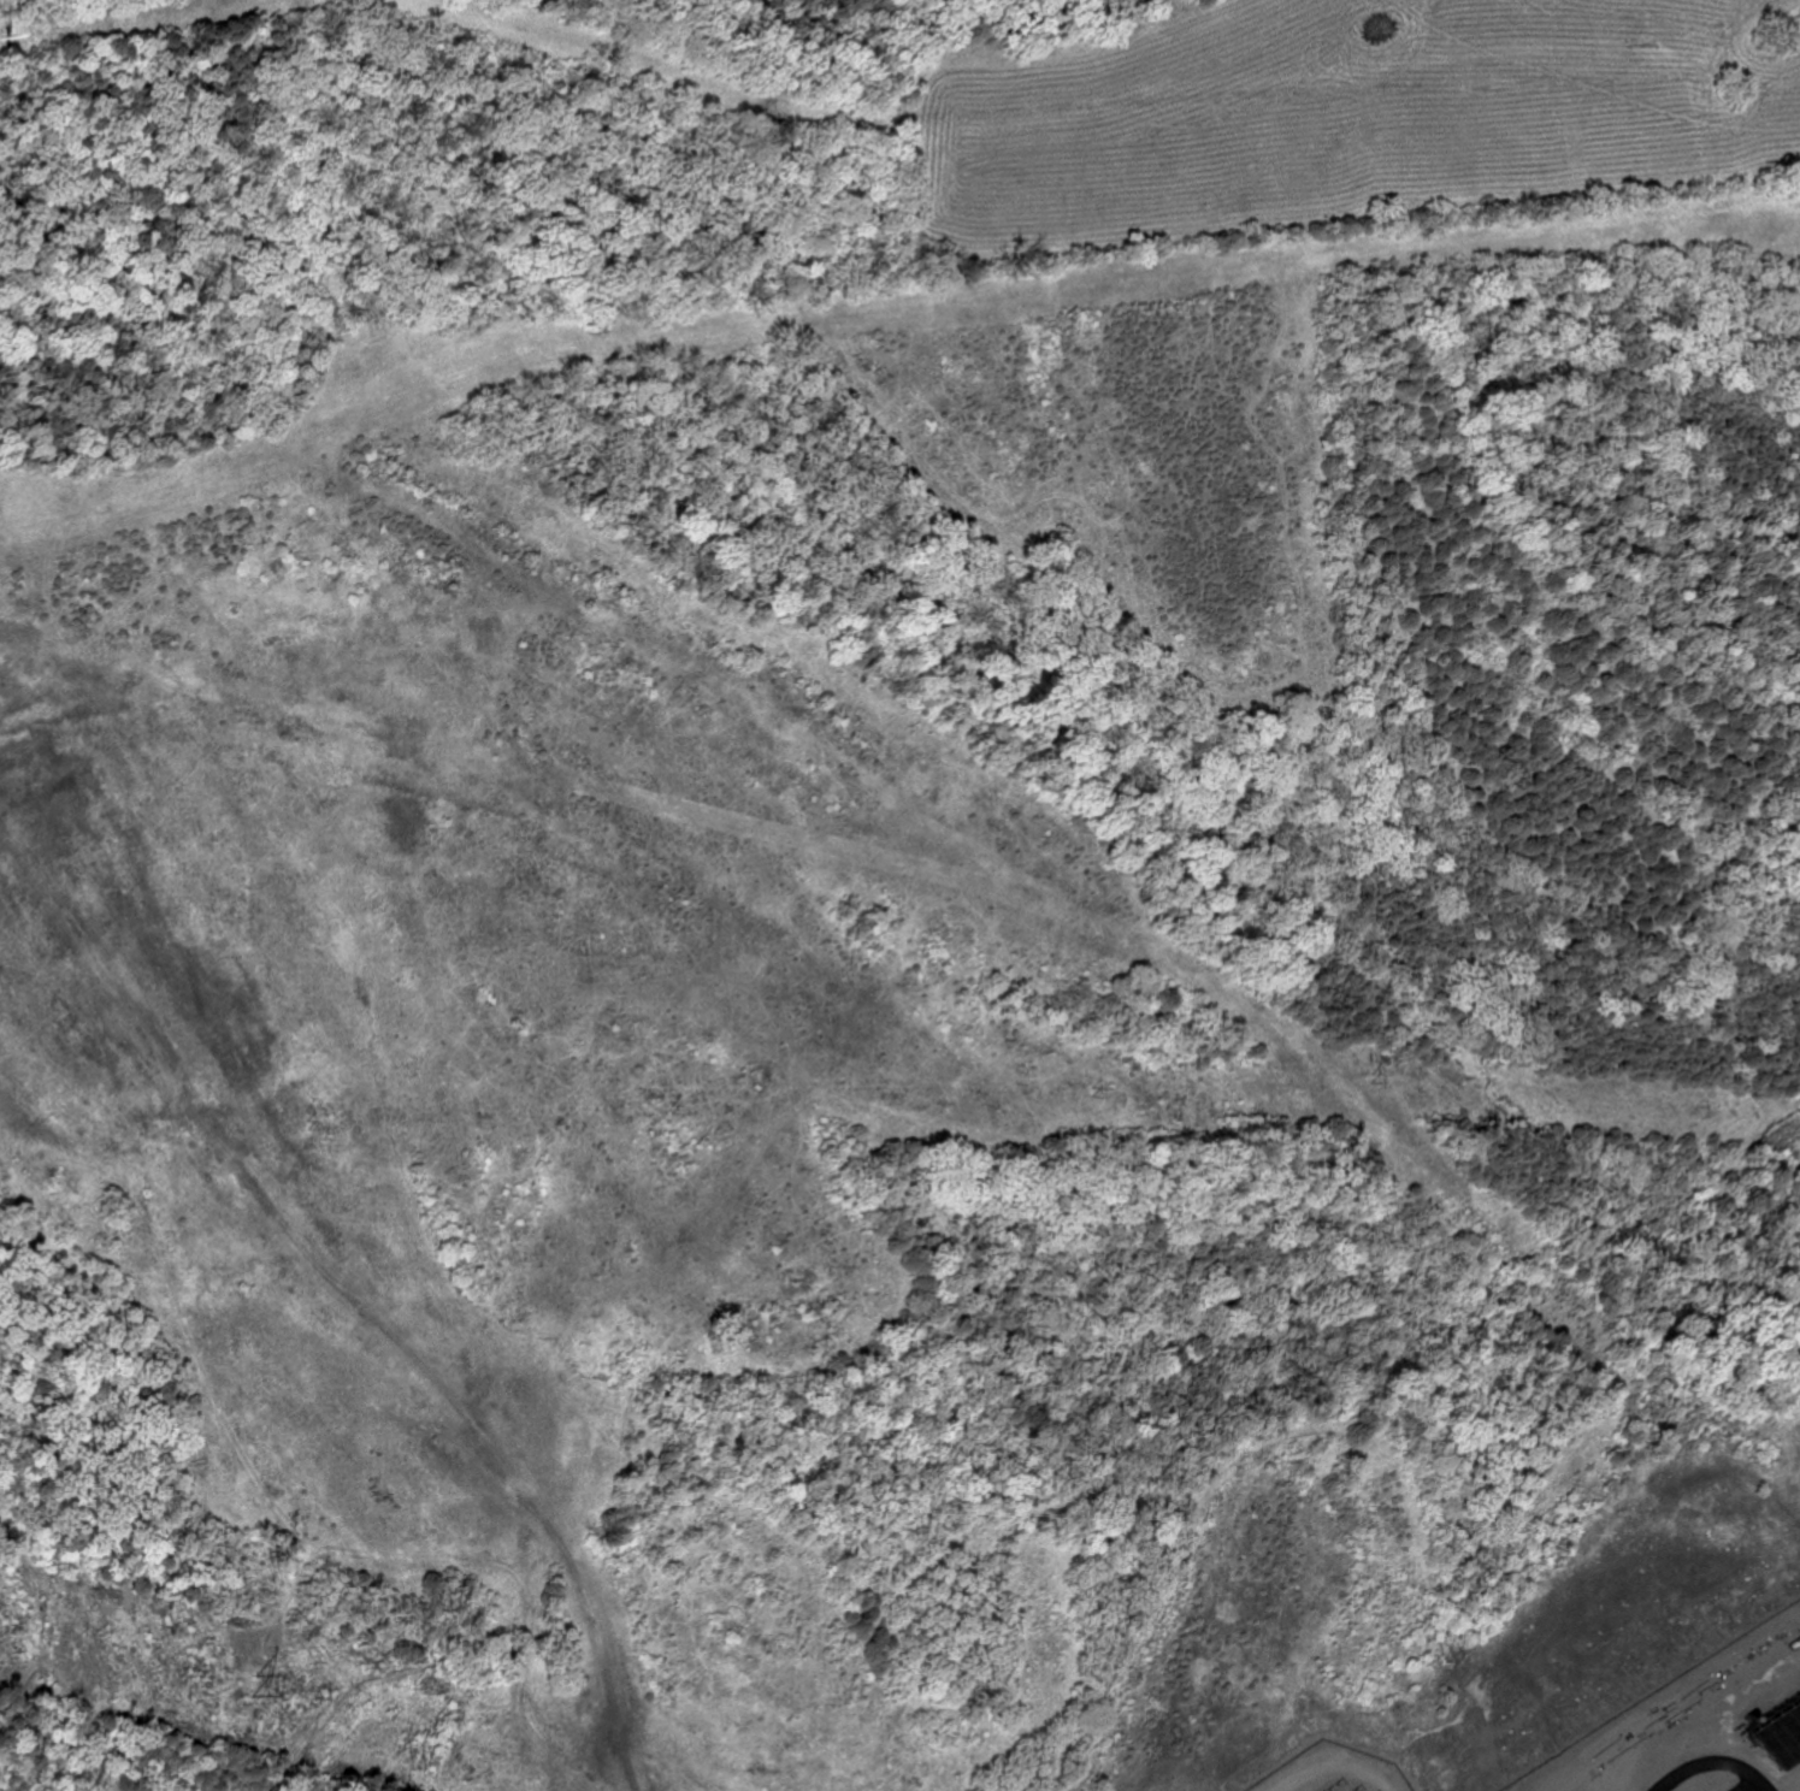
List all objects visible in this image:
power tower: (1361, 1075)
power tower: (1081, 1087)
power tower: (677, 1105)
power tower: (312, 1122)
power tower: (264, 1684)
building: (1769, 1725)
road: (1702, 1763)
power substation: (1327, 1772)
building: (1796, 1789)

